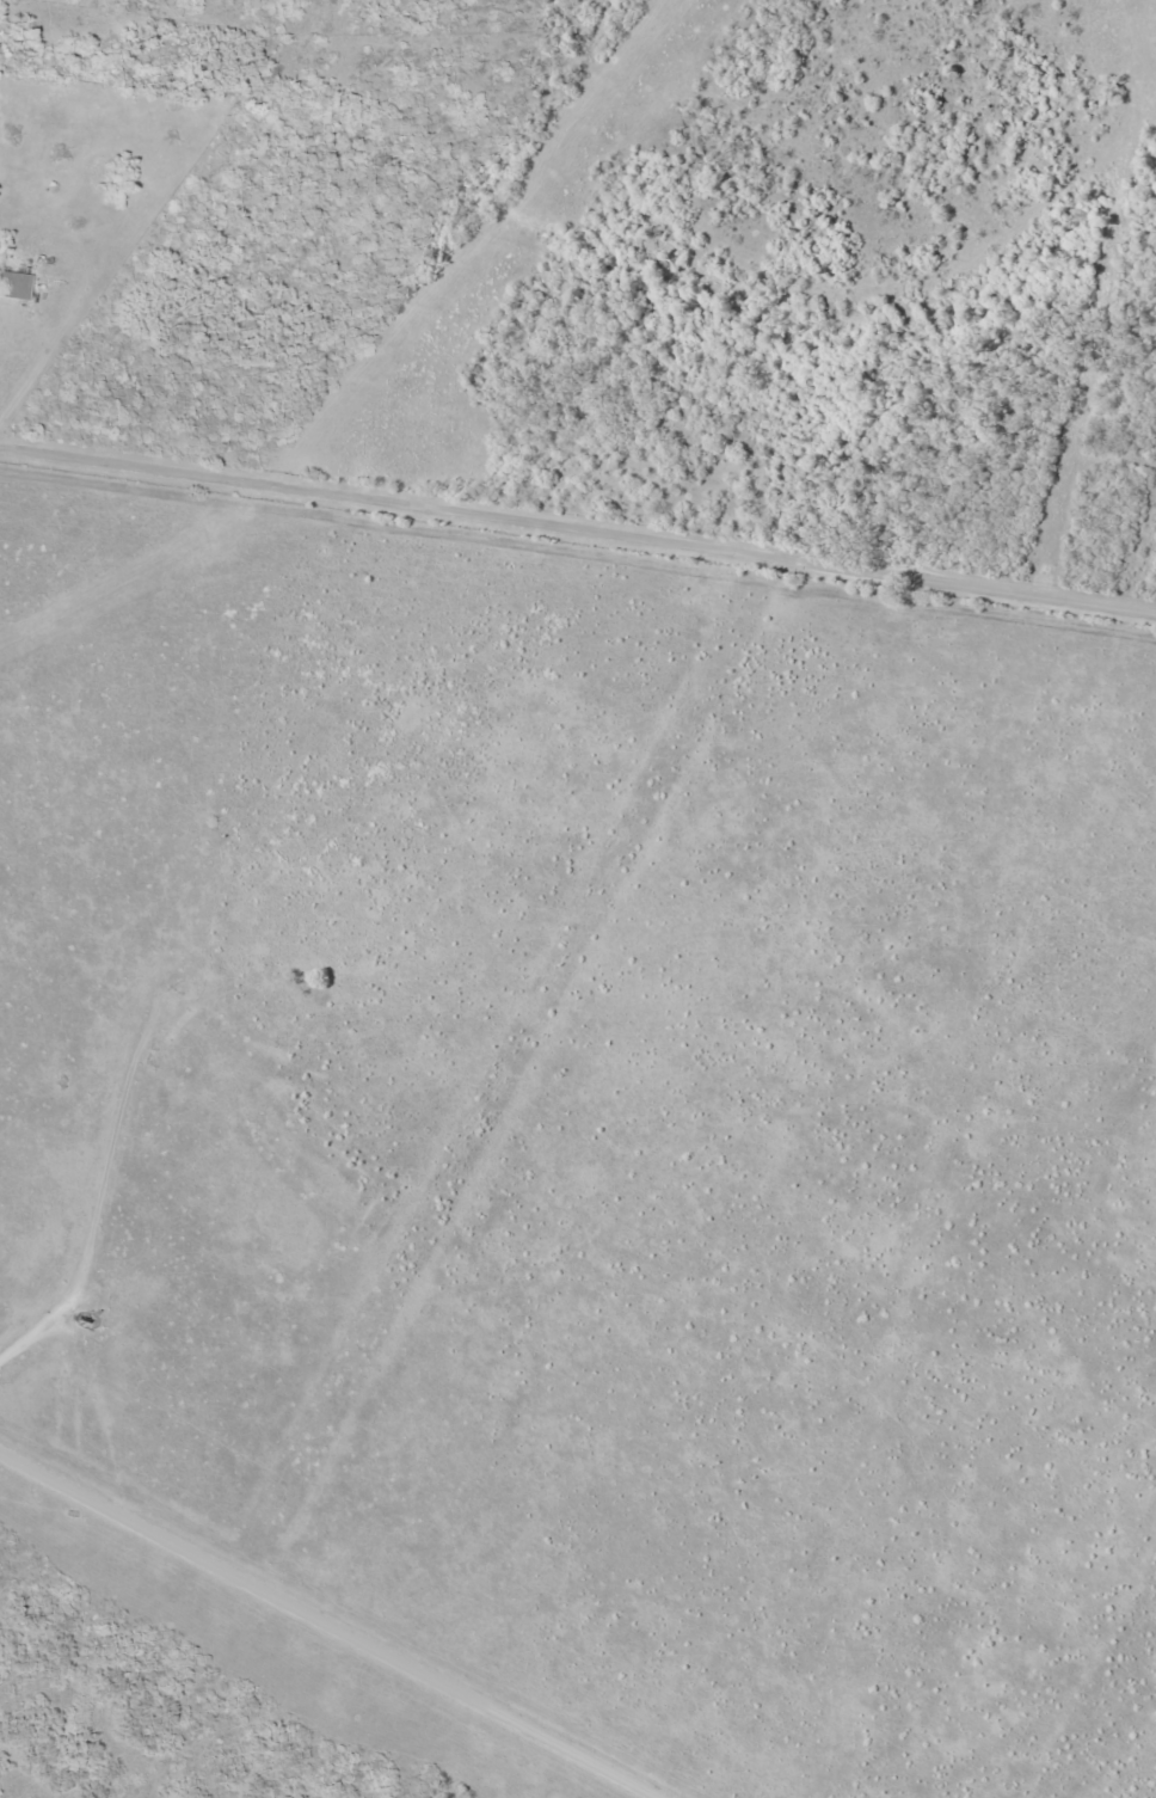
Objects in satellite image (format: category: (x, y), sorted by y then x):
building: (11, 283)
road: (578, 532)
road: (320, 1633)

